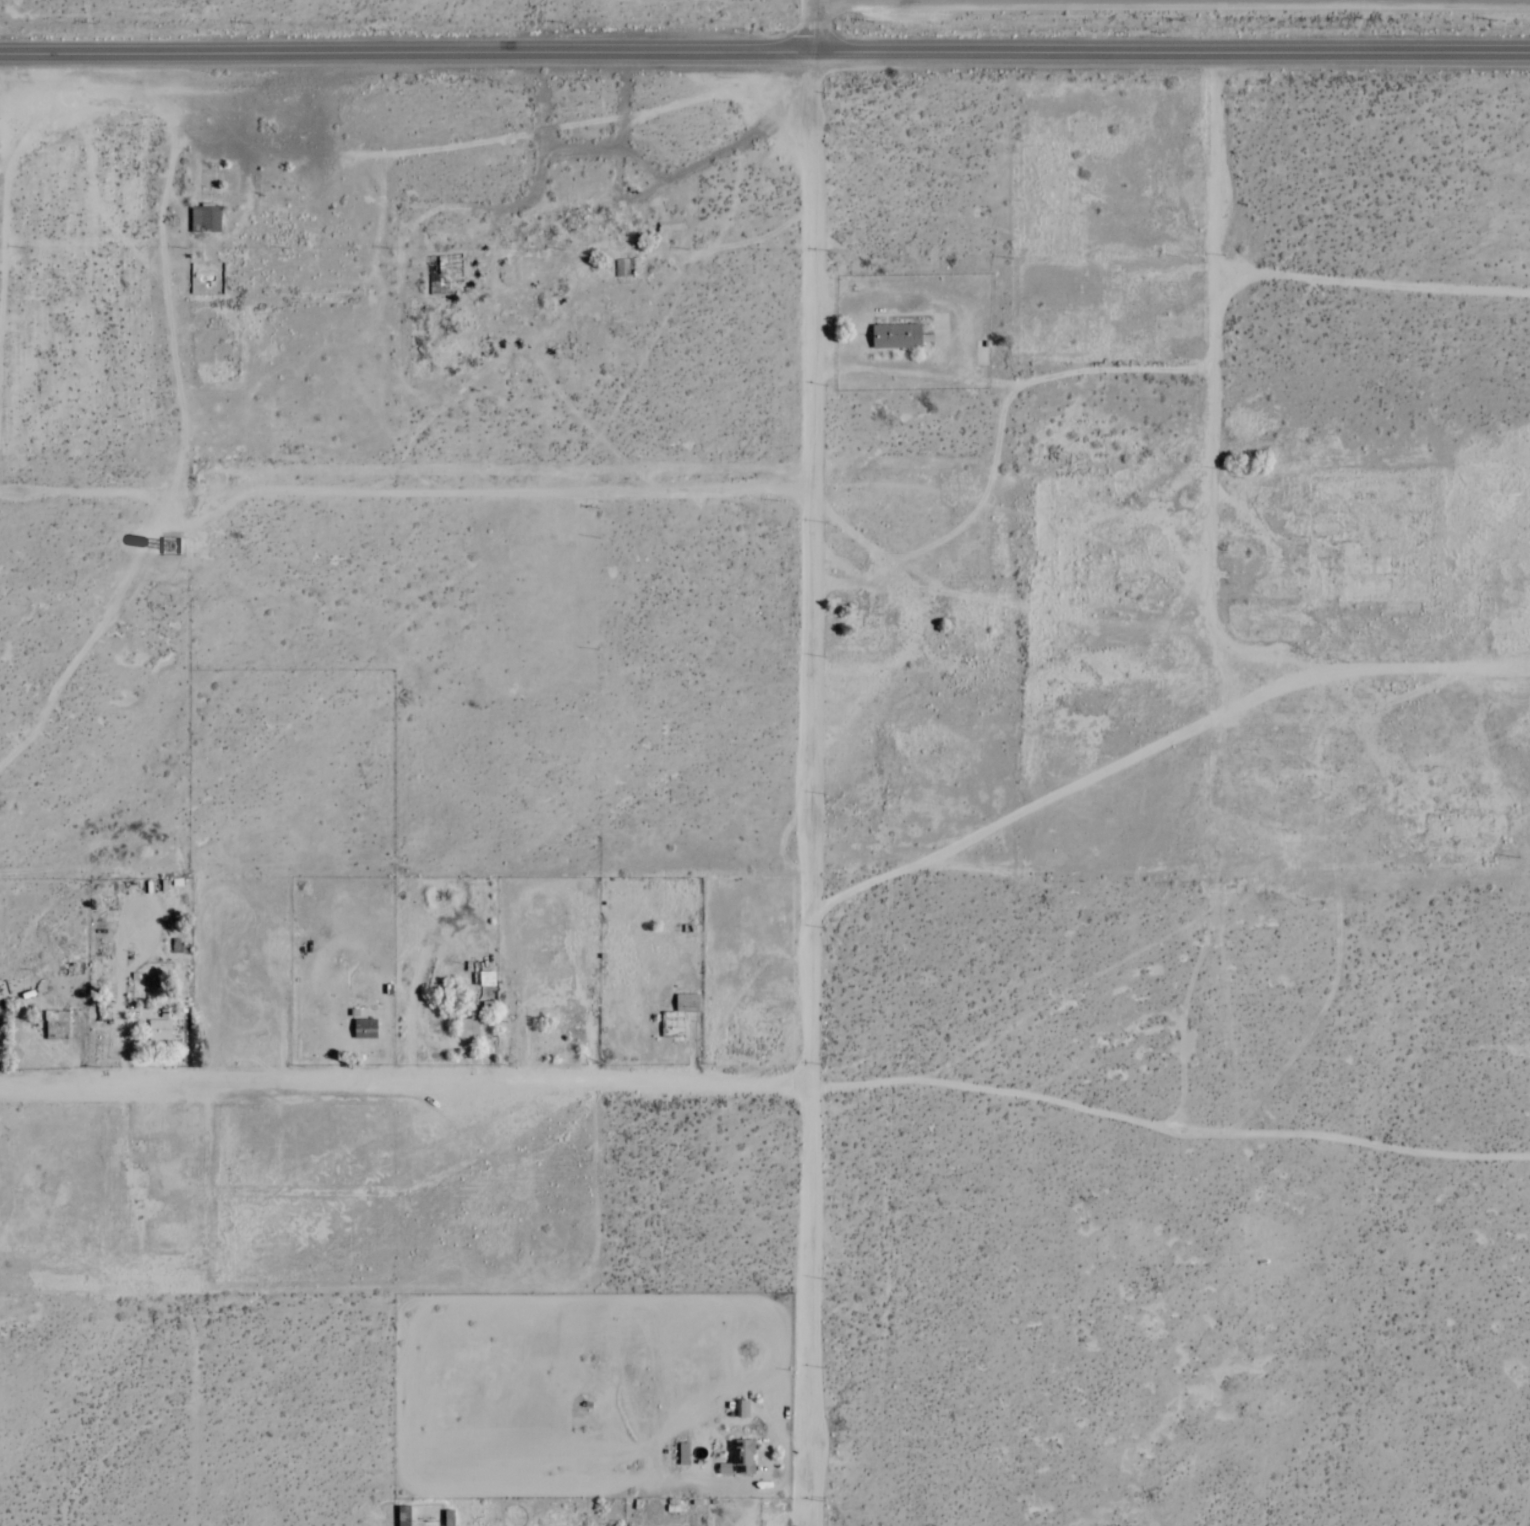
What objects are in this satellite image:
road: (813, 25)
road: (764, 51)
building: (207, 221)
road: (1372, 283)
road: (961, 330)
building: (893, 337)
road: (1213, 379)
road: (997, 445)
road: (856, 584)
road: (1158, 744)
road: (812, 788)
road: (417, 1004)
road: (125, 1021)
building: (466, 1028)
building: (362, 1030)
building: (161, 1034)
road: (405, 1085)
building: (737, 1460)
road: (789, 1517)

